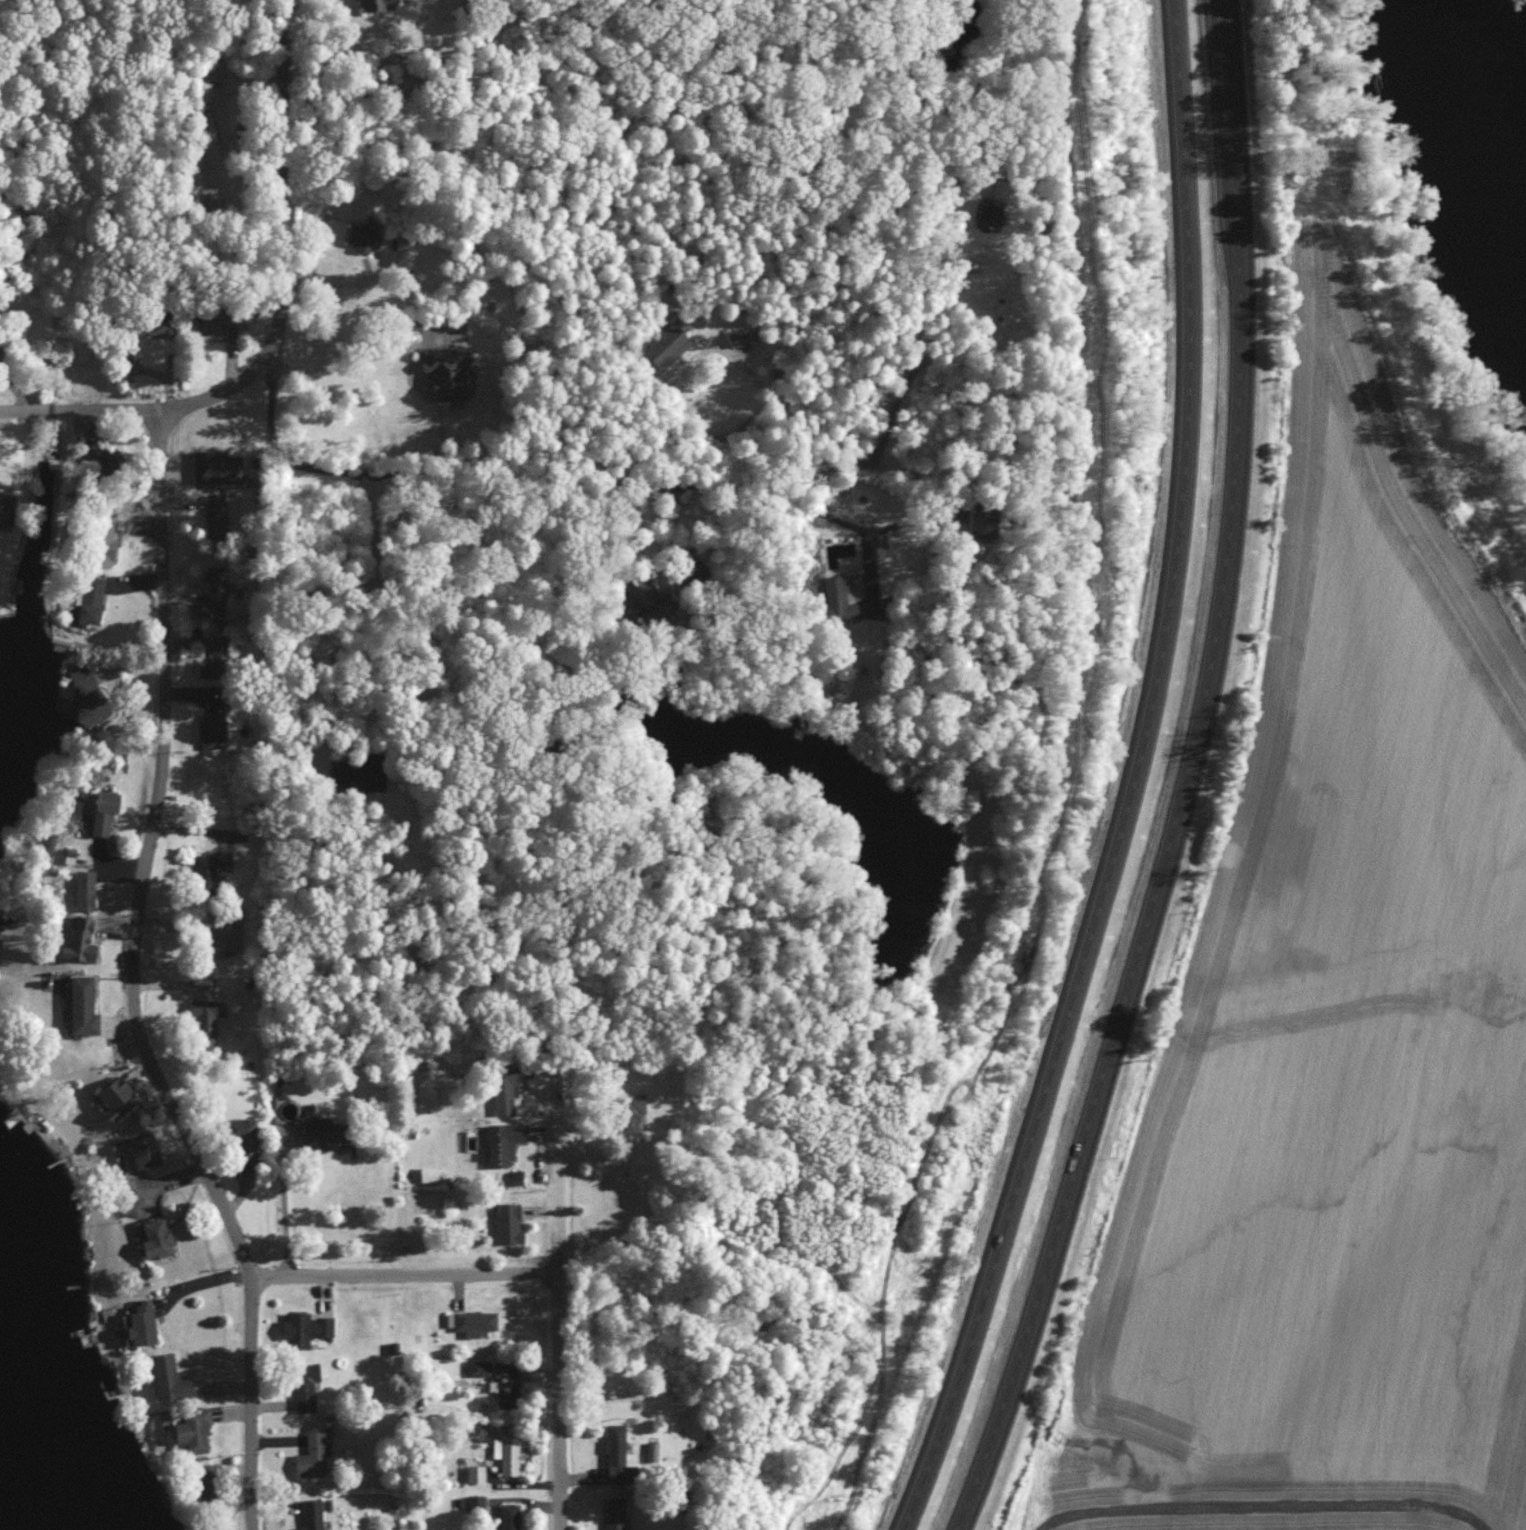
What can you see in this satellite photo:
building: (376, 4)
river: (1481, 86)
building: (983, 212)
building: (366, 236)
road: (285, 242)
road: (343, 279)
road: (915, 304)
building: (215, 326)
building: (733, 336)
building: (665, 344)
road: (335, 367)
building: (449, 371)
road: (712, 383)
road: (77, 398)
building: (107, 459)
building: (217, 467)
road: (427, 472)
road: (912, 474)
building: (8, 508)
building: (967, 518)
building: (218, 519)
building: (109, 540)
building: (690, 572)
building: (218, 585)
building: (93, 599)
building: (648, 599)
building: (833, 599)
road: (340, 647)
building: (215, 658)
building: (89, 695)
building: (214, 728)
building: (359, 774)
road: (1128, 779)
road: (1184, 779)
building: (107, 809)
building: (211, 864)
building: (86, 888)
building: (223, 936)
building: (81, 938)
road: (133, 976)
building: (84, 1004)
building: (204, 1008)
building: (505, 1087)
building: (120, 1097)
building: (326, 1130)
building: (250, 1137)
building: (505, 1141)
building: (146, 1150)
building: (431, 1172)
road: (562, 1175)
road: (284, 1204)
building: (509, 1221)
building: (158, 1237)
road: (404, 1277)
building: (474, 1321)
building: (144, 1324)
building: (307, 1327)
building: (480, 1366)
building: (172, 1378)
building: (307, 1385)
building: (509, 1387)
road: (562, 1405)
building: (196, 1429)
building: (653, 1450)
building: (508, 1452)
building: (313, 1455)
building: (620, 1455)
building: (476, 1504)
road: (1261, 1507)
building: (616, 1513)
building: (313, 1514)
building: (511, 1516)

